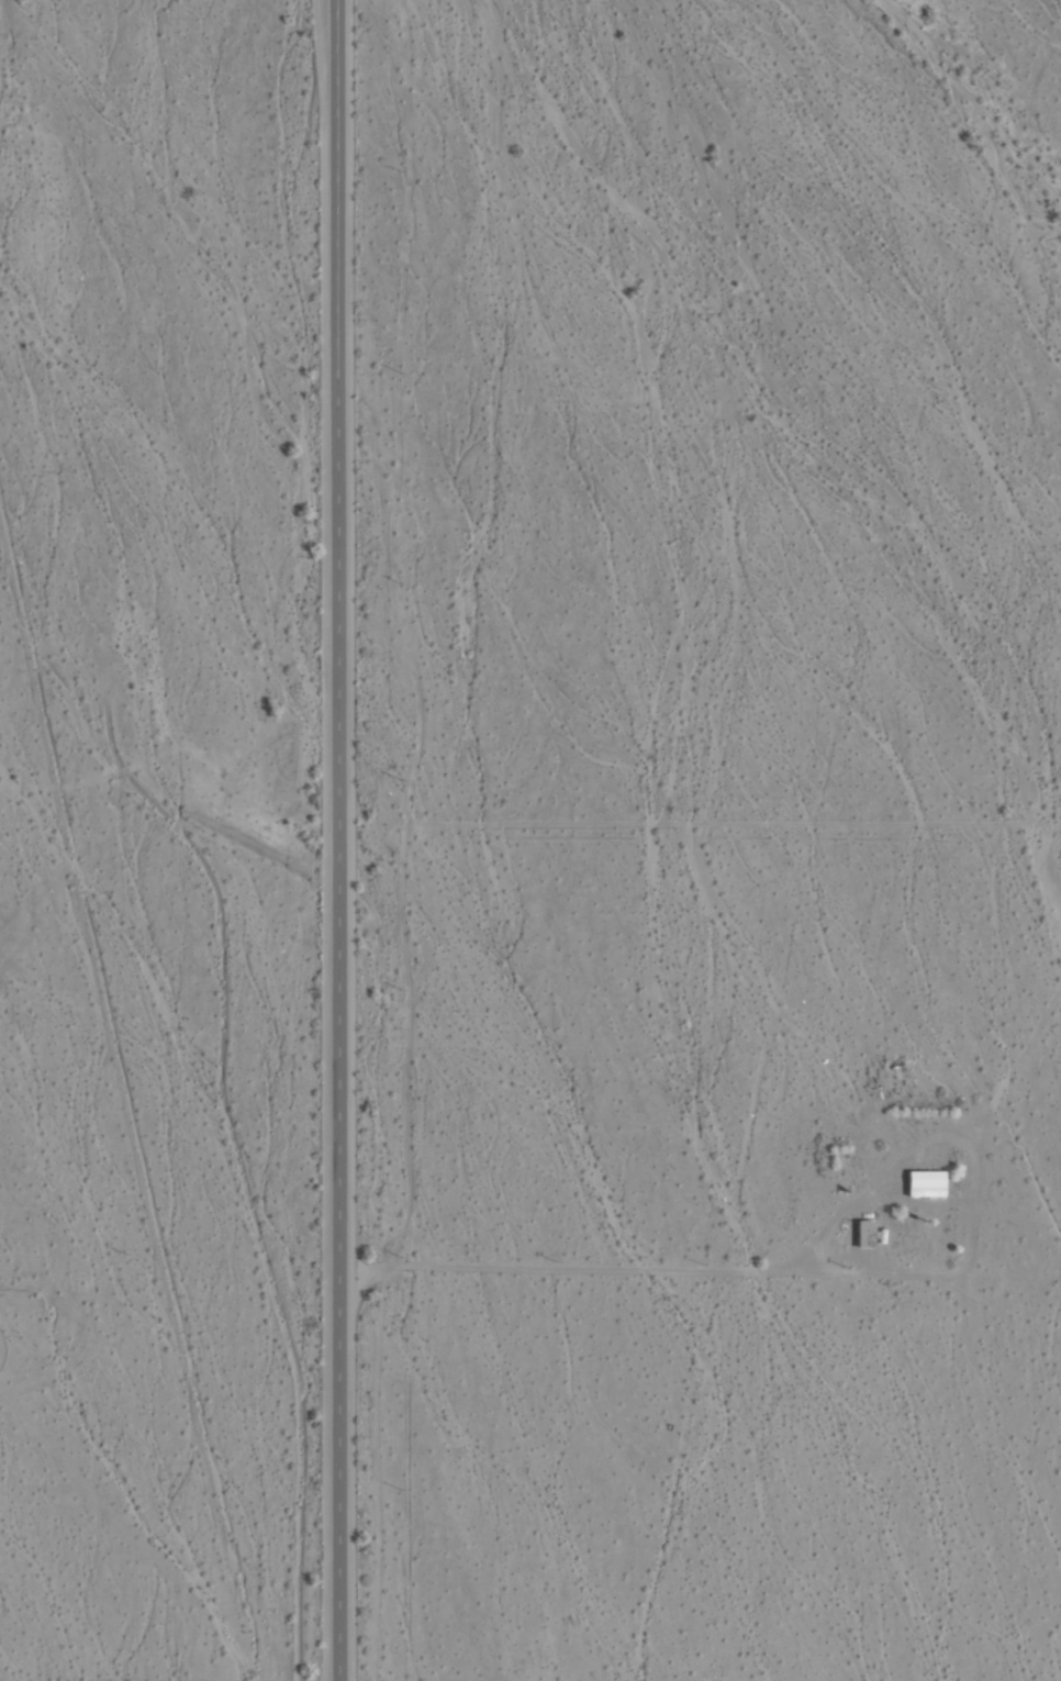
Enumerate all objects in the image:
road: (344, 841)
building: (926, 1184)
building: (867, 1235)

